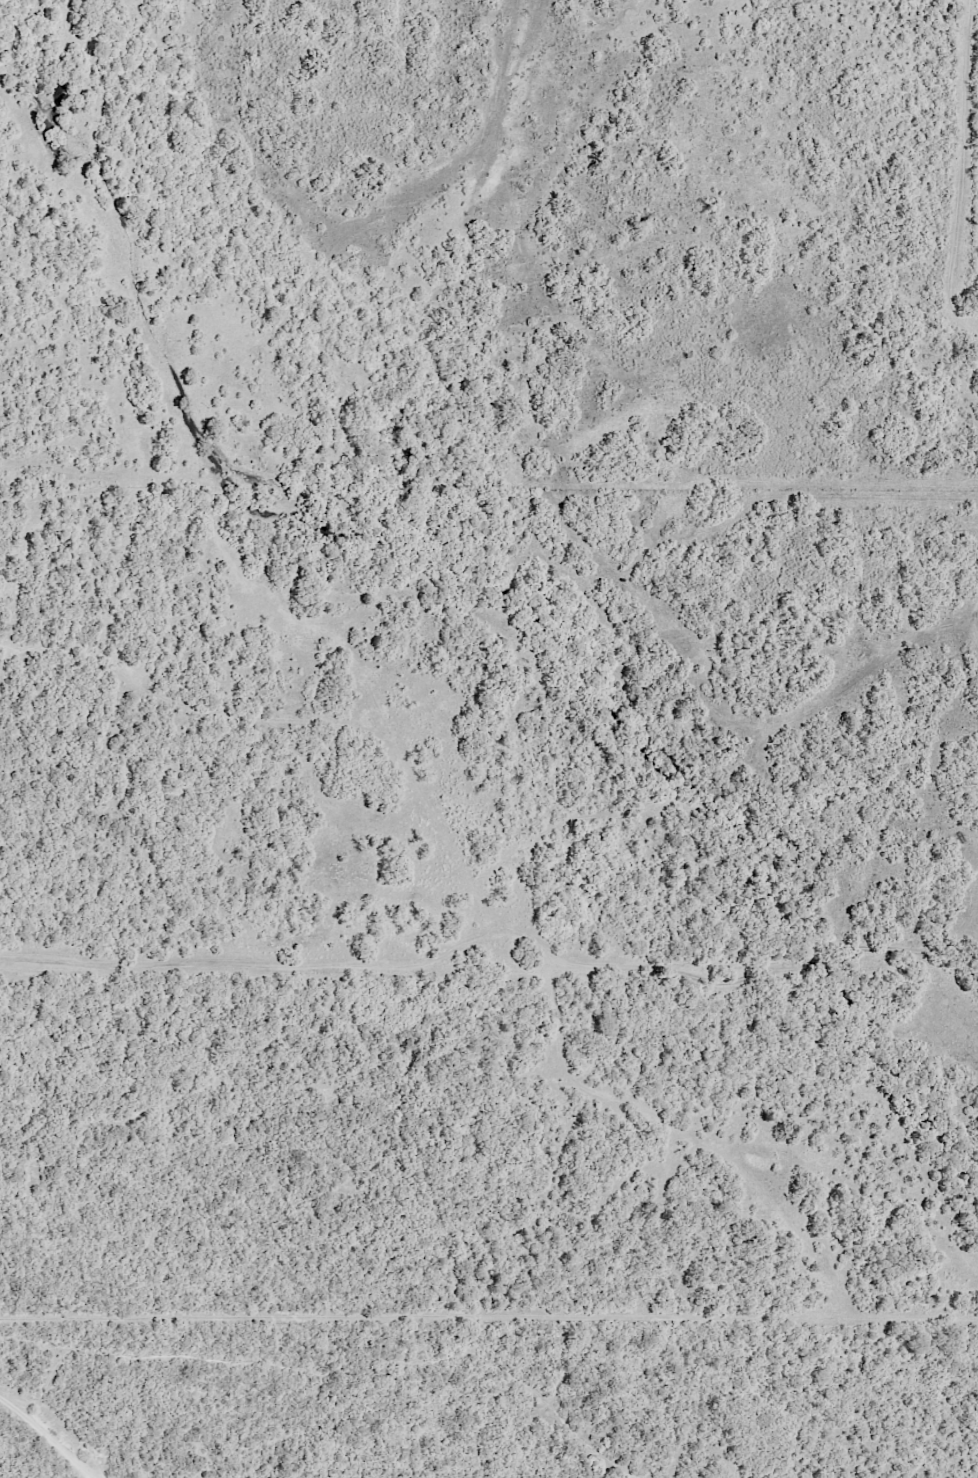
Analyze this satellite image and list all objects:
road: (957, 174)
road: (534, 795)
road: (379, 1105)
road: (351, 1363)
road: (56, 1427)

